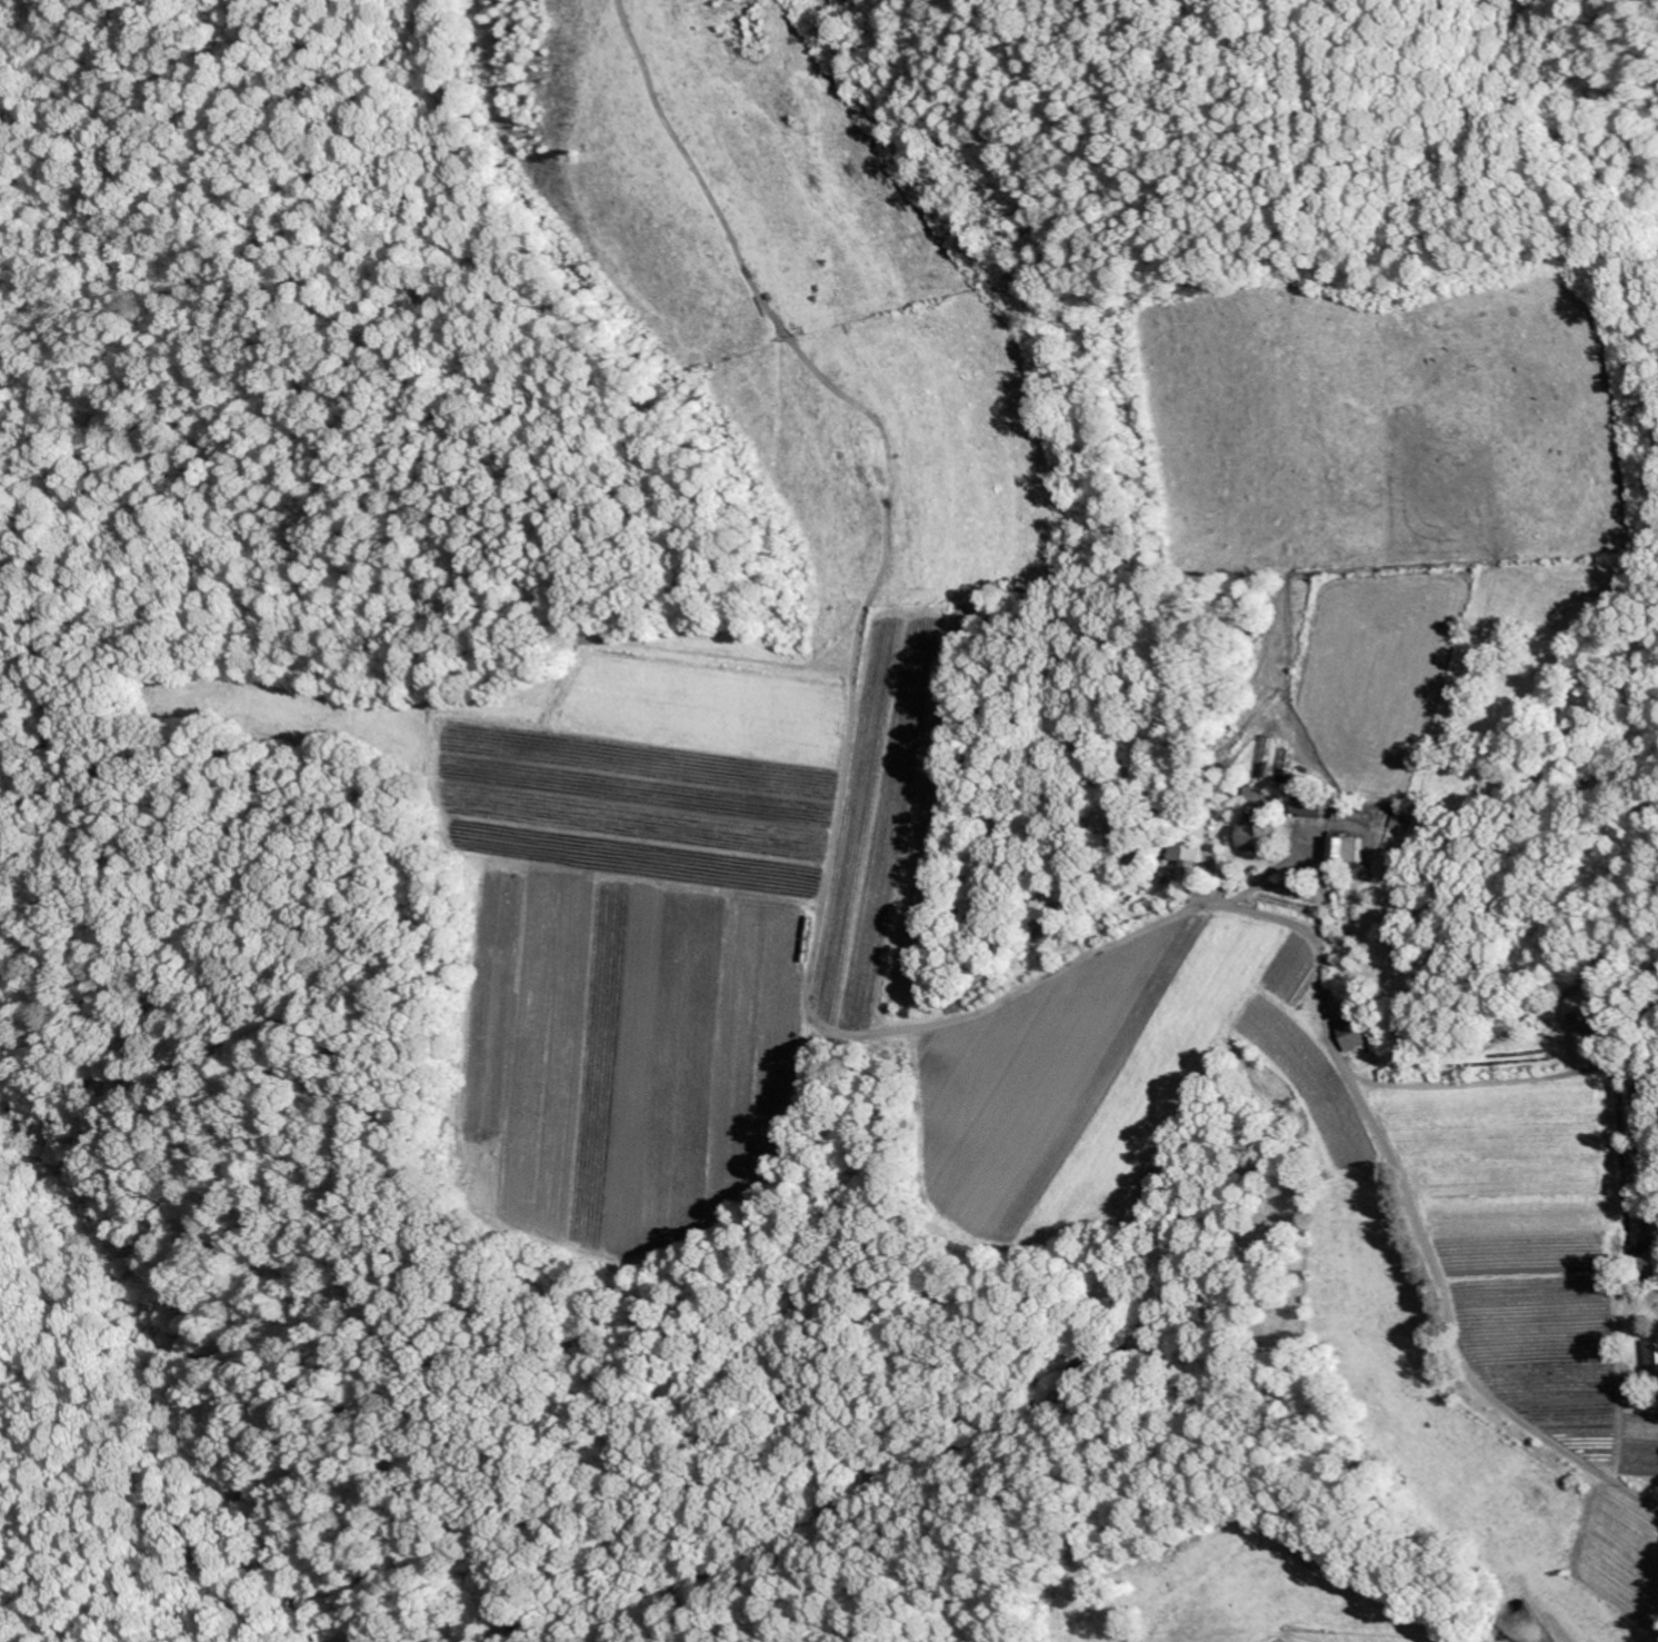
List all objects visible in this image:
building: (1255, 835)
building: (1587, 1019)
building: (1354, 1033)
building: (1651, 1357)
road: (1585, 1467)

